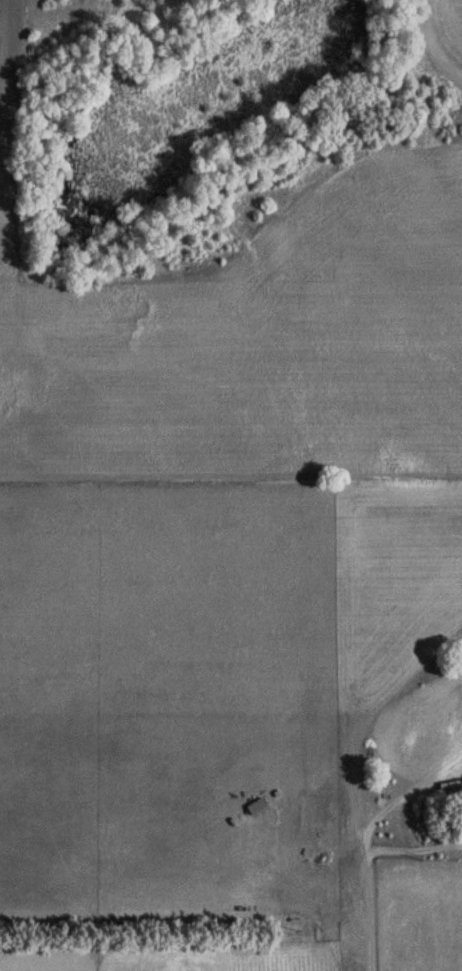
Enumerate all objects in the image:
building: (257, 806)

